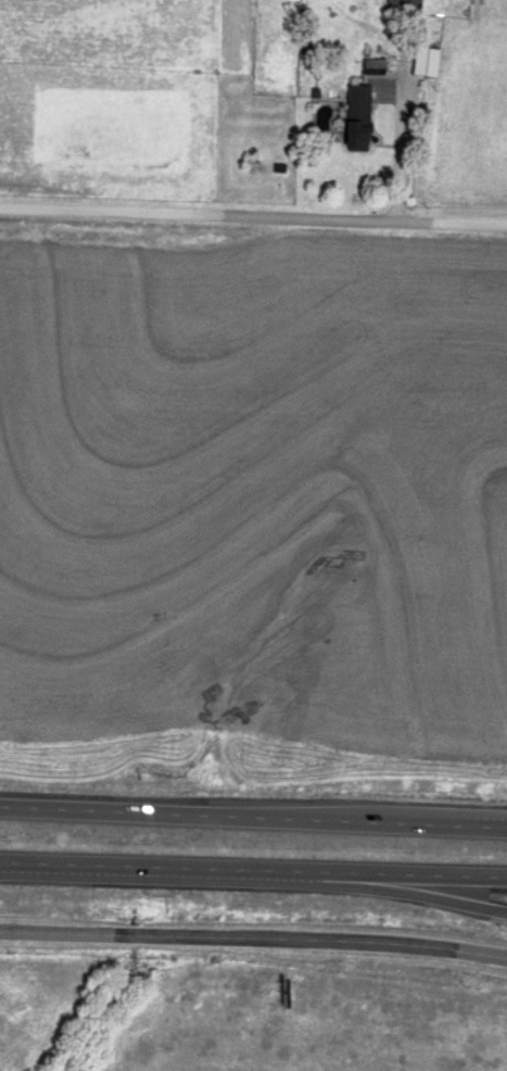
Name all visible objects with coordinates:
building: (403, 5)
building: (424, 61)
building: (357, 117)
road: (400, 154)
road: (253, 218)
road: (253, 815)
road: (390, 816)
road: (253, 871)
road: (383, 889)
road: (253, 938)
crop: (33, 1000)
crop: (315, 1023)

